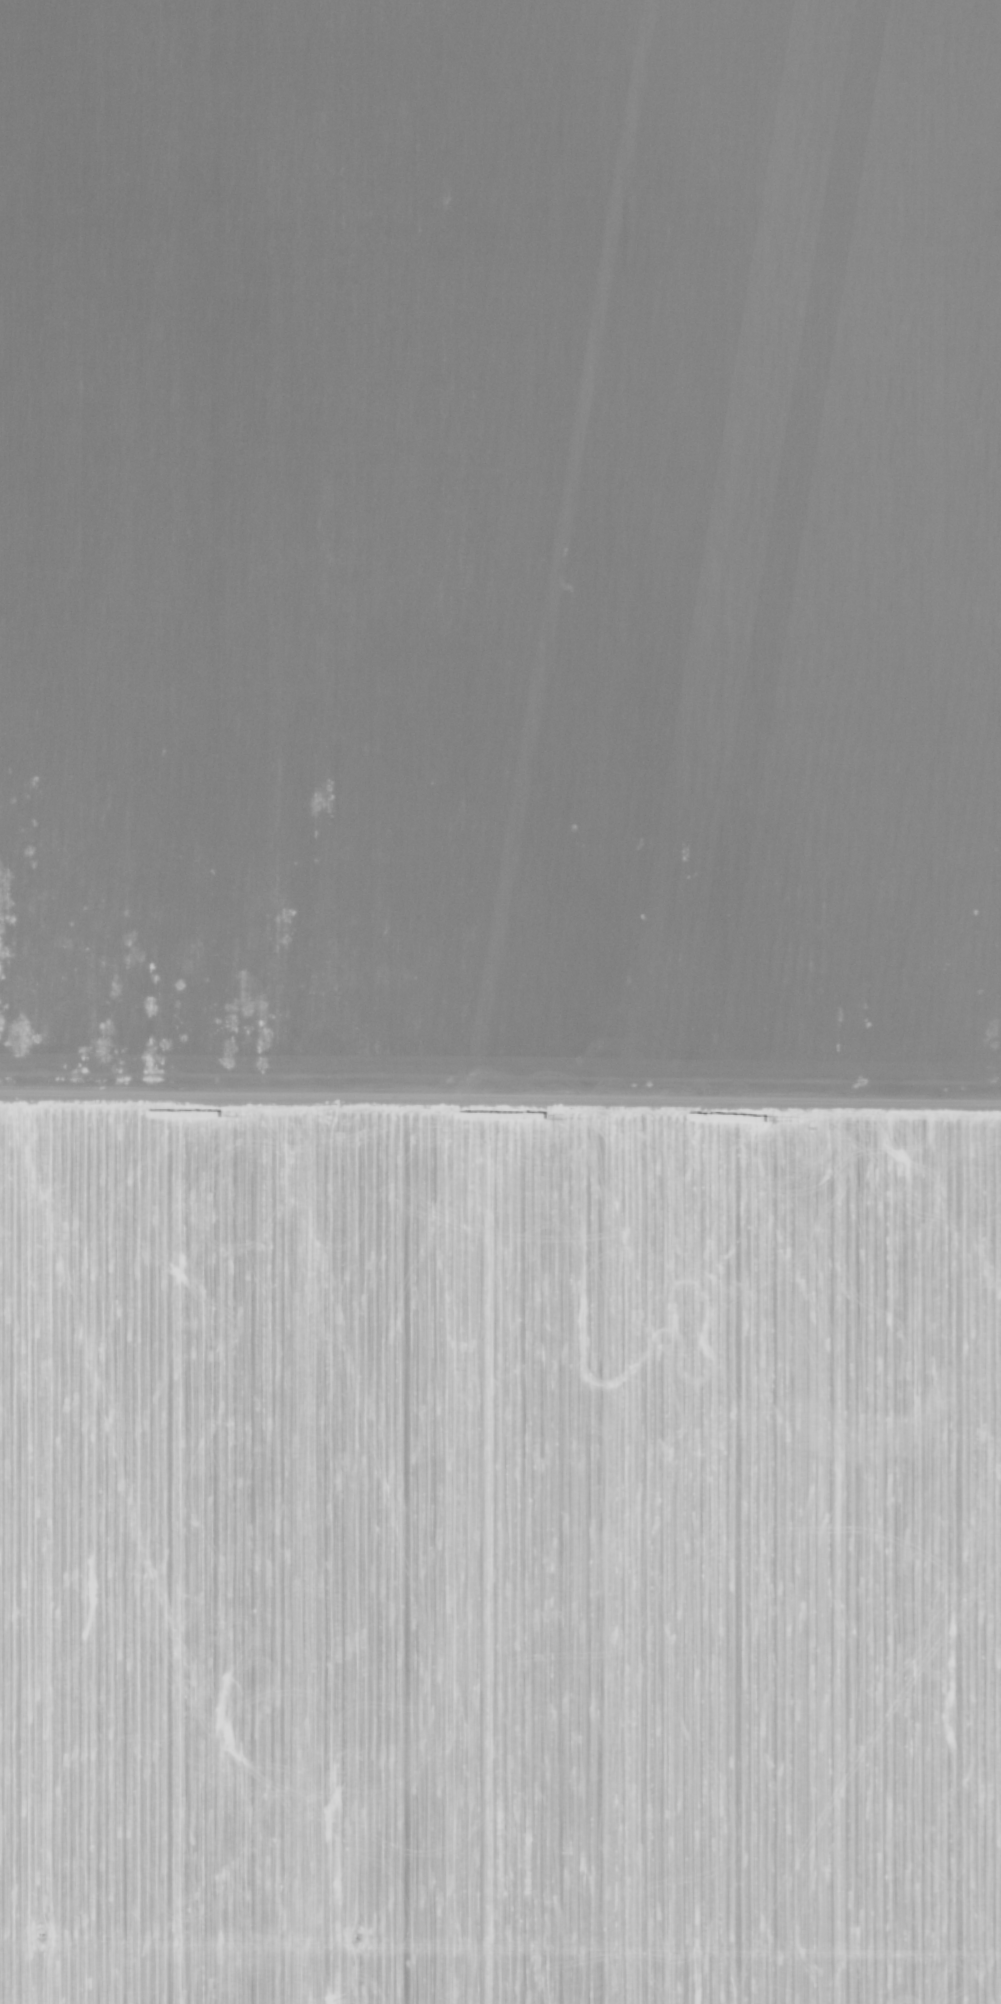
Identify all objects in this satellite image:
road: (500, 1091)
crop: (500, 1556)

